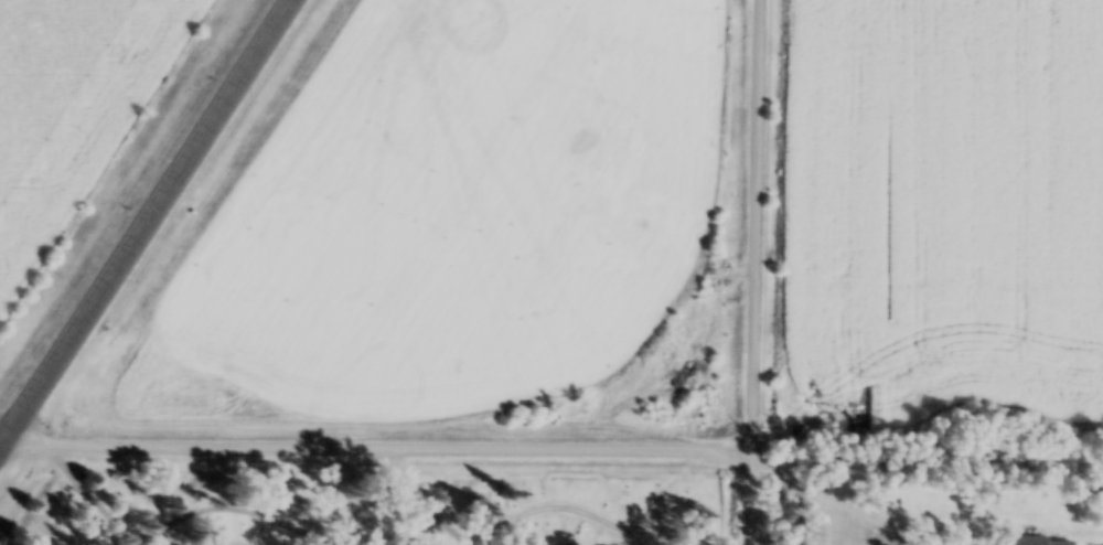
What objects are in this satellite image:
road: (149, 228)
road: (756, 271)
road: (1, 452)
road: (377, 452)
building: (1041, 542)

